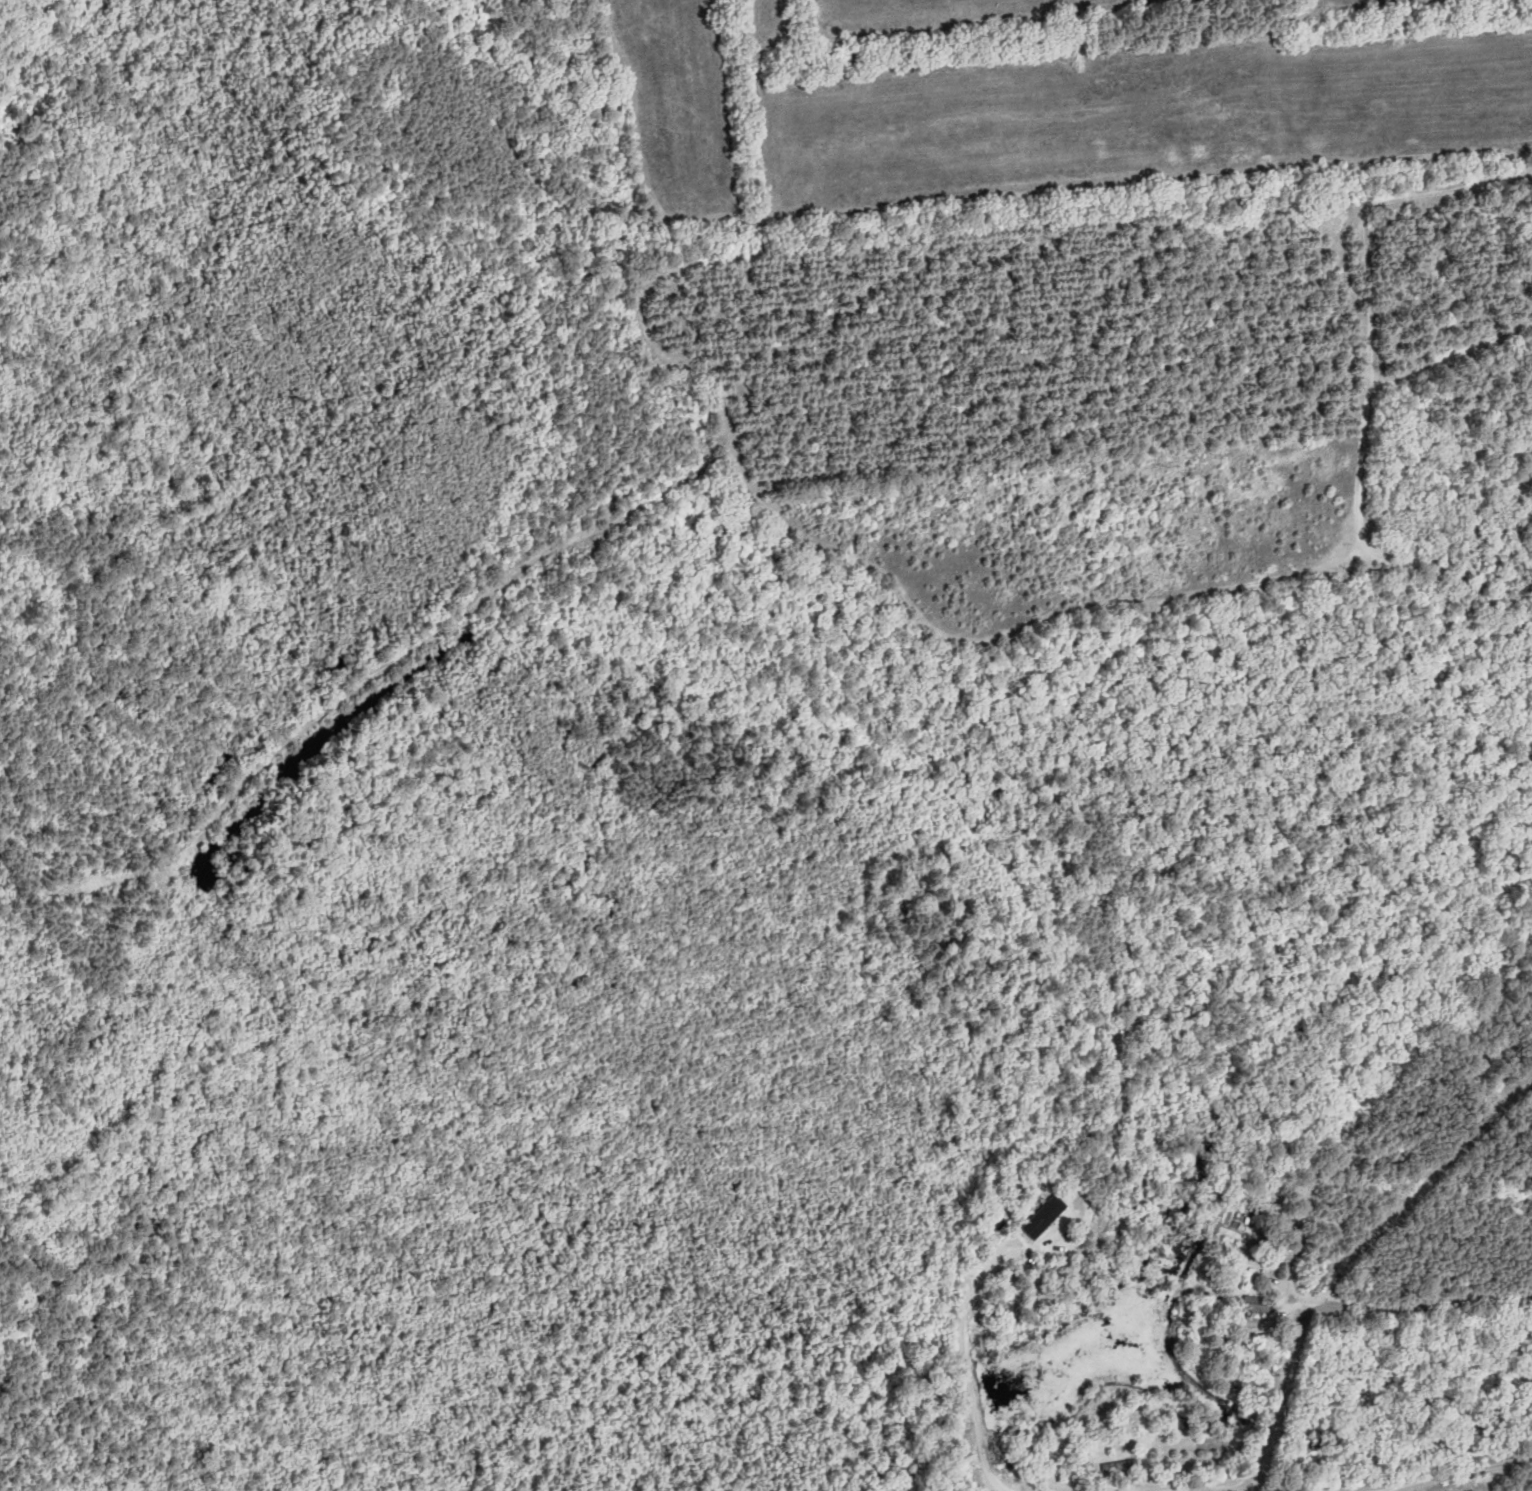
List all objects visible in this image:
road: (1317, 1299)
building: (1260, 1305)
building: (1121, 1468)
road: (1446, 1477)

